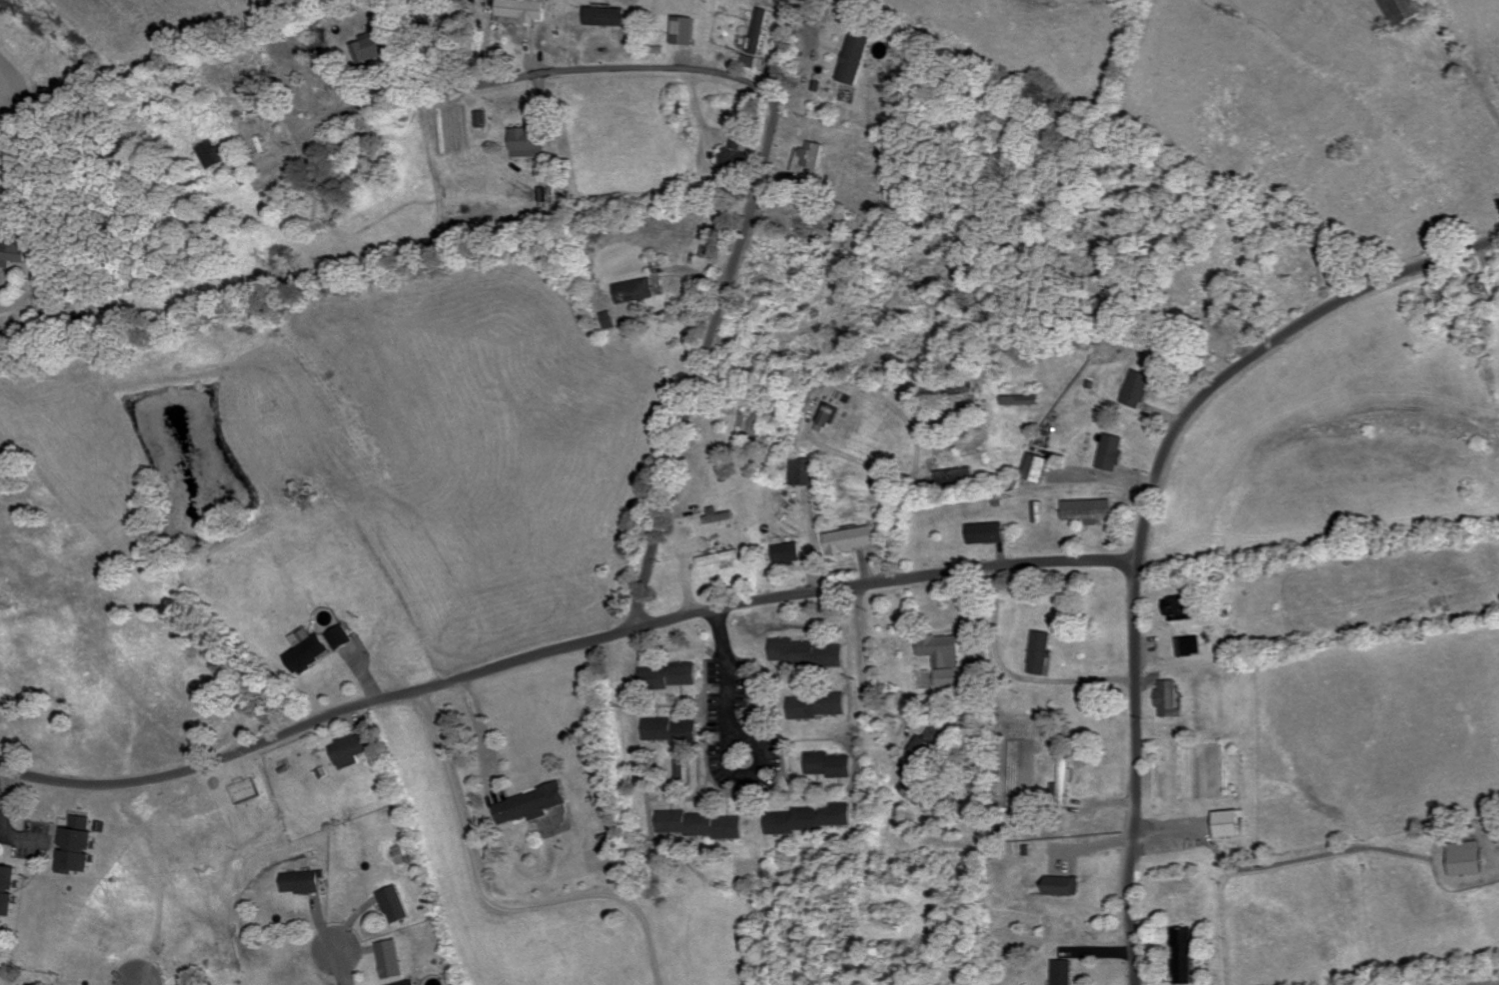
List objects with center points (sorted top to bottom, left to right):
building: (523, 10)
building: (1402, 10)
building: (609, 17)
building: (688, 31)
building: (760, 32)
building: (368, 48)
building: (855, 59)
road: (534, 75)
building: (482, 120)
building: (527, 140)
building: (214, 154)
building: (813, 155)
building: (14, 253)
building: (638, 291)
road: (13, 303)
road: (720, 314)
building: (610, 320)
building: (1138, 390)
building: (1020, 401)
building: (827, 418)
building: (1112, 453)
building: (1037, 468)
building: (806, 472)
building: (1090, 511)
building: (1040, 512)
road: (1149, 516)
building: (721, 517)
building: (989, 533)
building: (853, 540)
building: (790, 554)
building: (721, 558)
building: (1179, 609)
building: (341, 638)
road: (563, 646)
building: (1190, 647)
building: (805, 653)
building: (1044, 653)
building: (308, 655)
building: (947, 659)
road: (913, 663)
building: (669, 676)
road: (722, 686)
building: (1170, 699)
building: (818, 707)
building: (670, 731)
building: (351, 751)
building: (929, 752)
building: (829, 765)
building: (1066, 784)
building: (914, 788)
building: (531, 805)
building: (809, 819)
building: (1230, 824)
building: (699, 825)
building: (80, 847)
building: (399, 855)
building: (1468, 859)
building: (302, 882)
building: (1067, 887)
building: (9, 891)
building: (395, 906)
building: (1187, 957)
road: (341, 960)
building: (391, 960)
building: (1066, 973)
road: (140, 975)
building: (410, 983)

